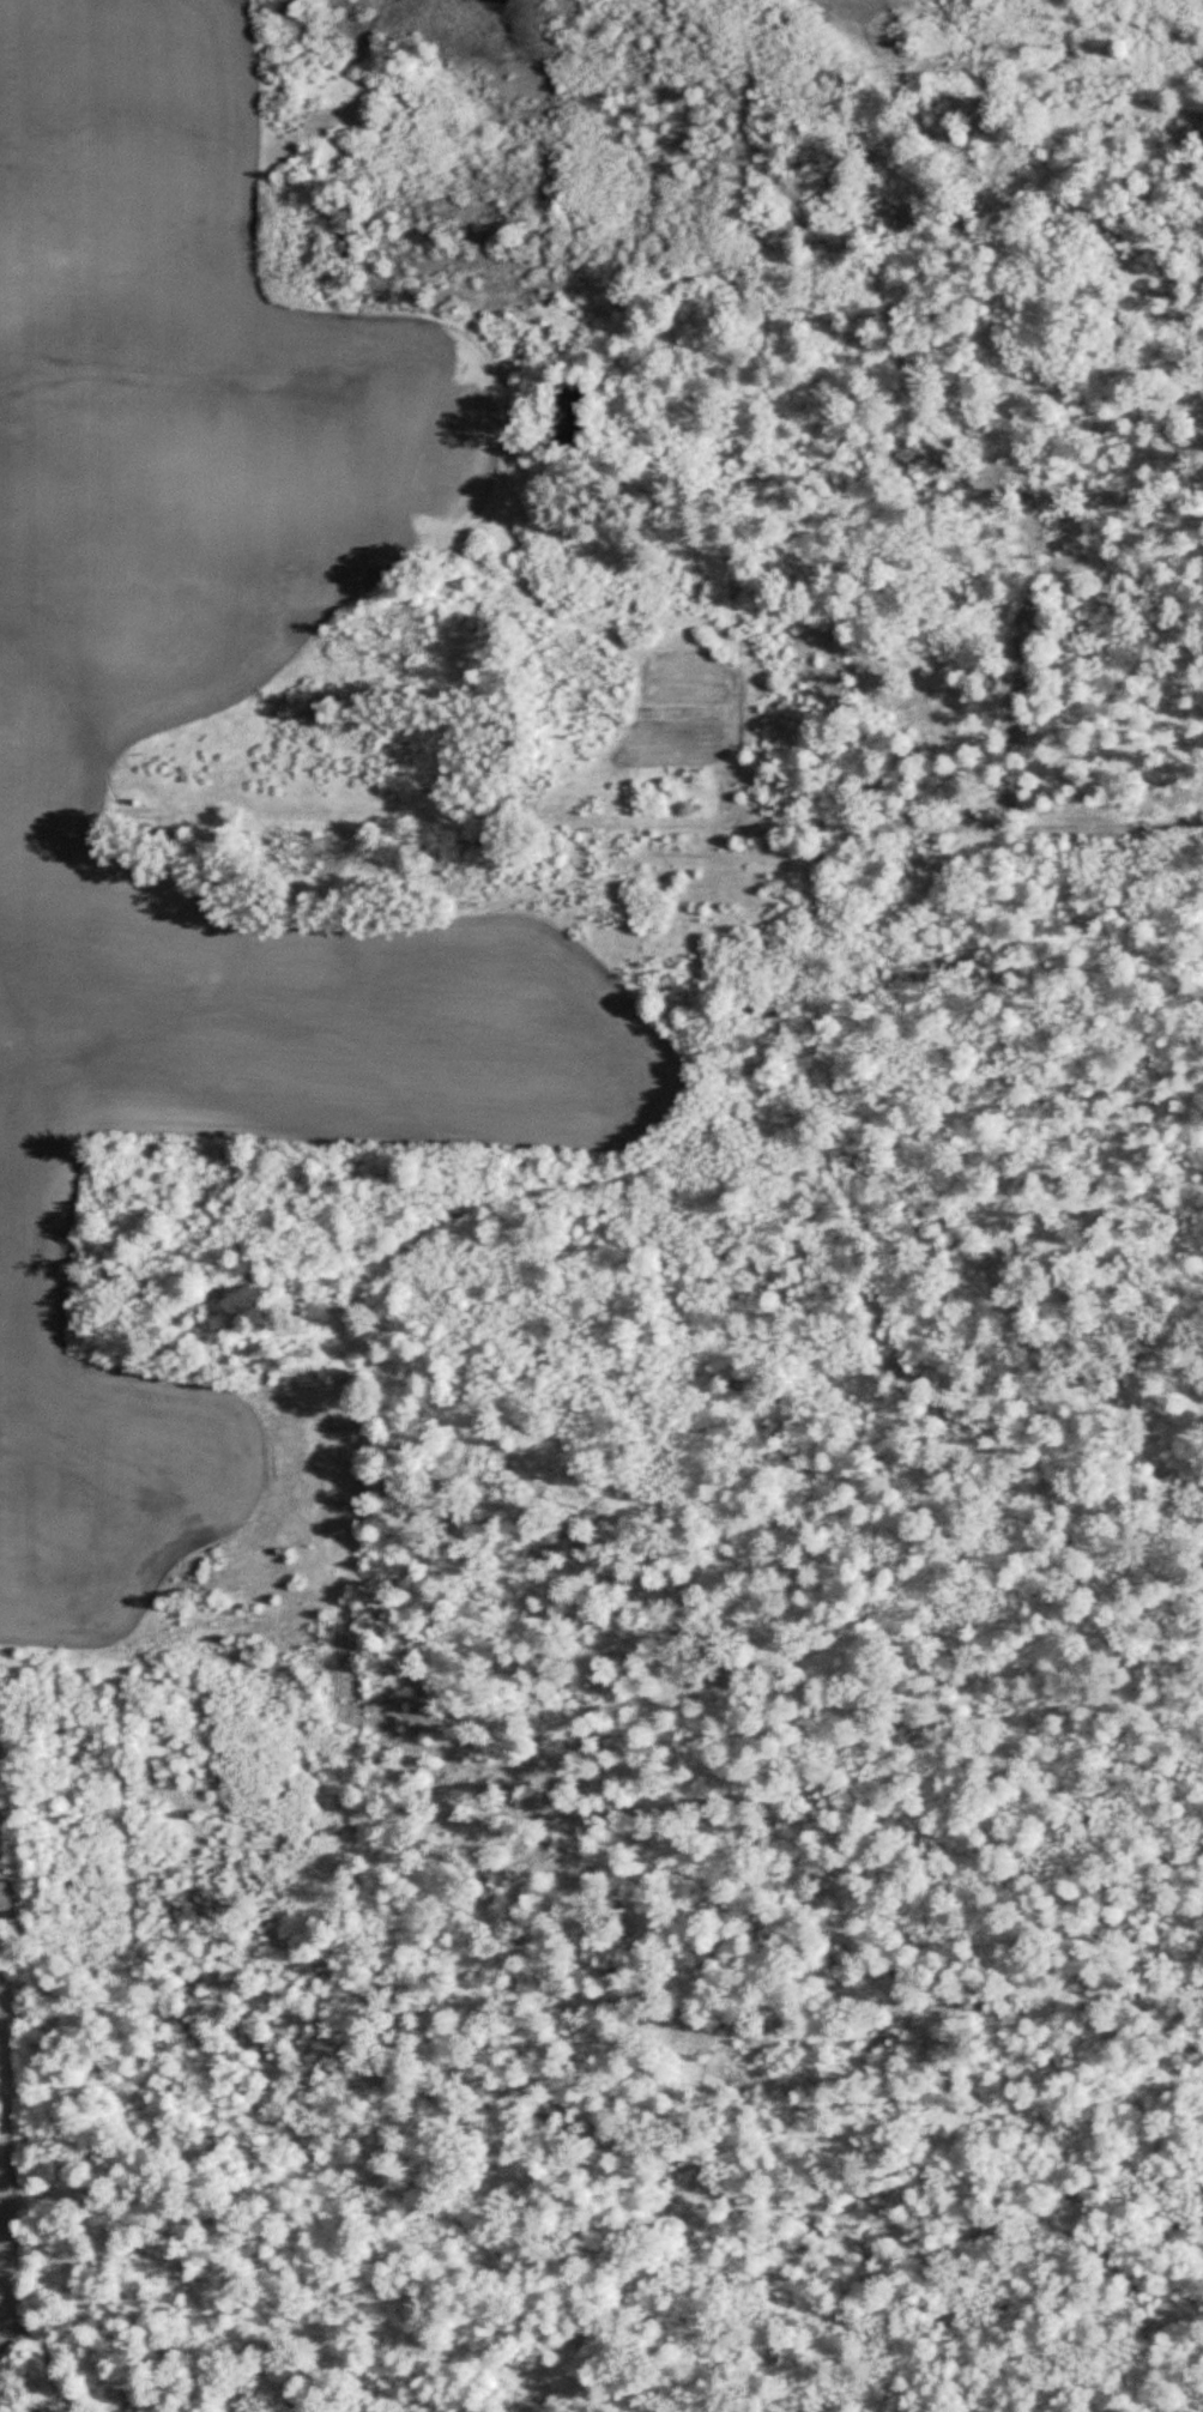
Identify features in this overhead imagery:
crop: (36, 830)
road: (5, 2019)
road: (5, 2274)
road: (41, 2356)

